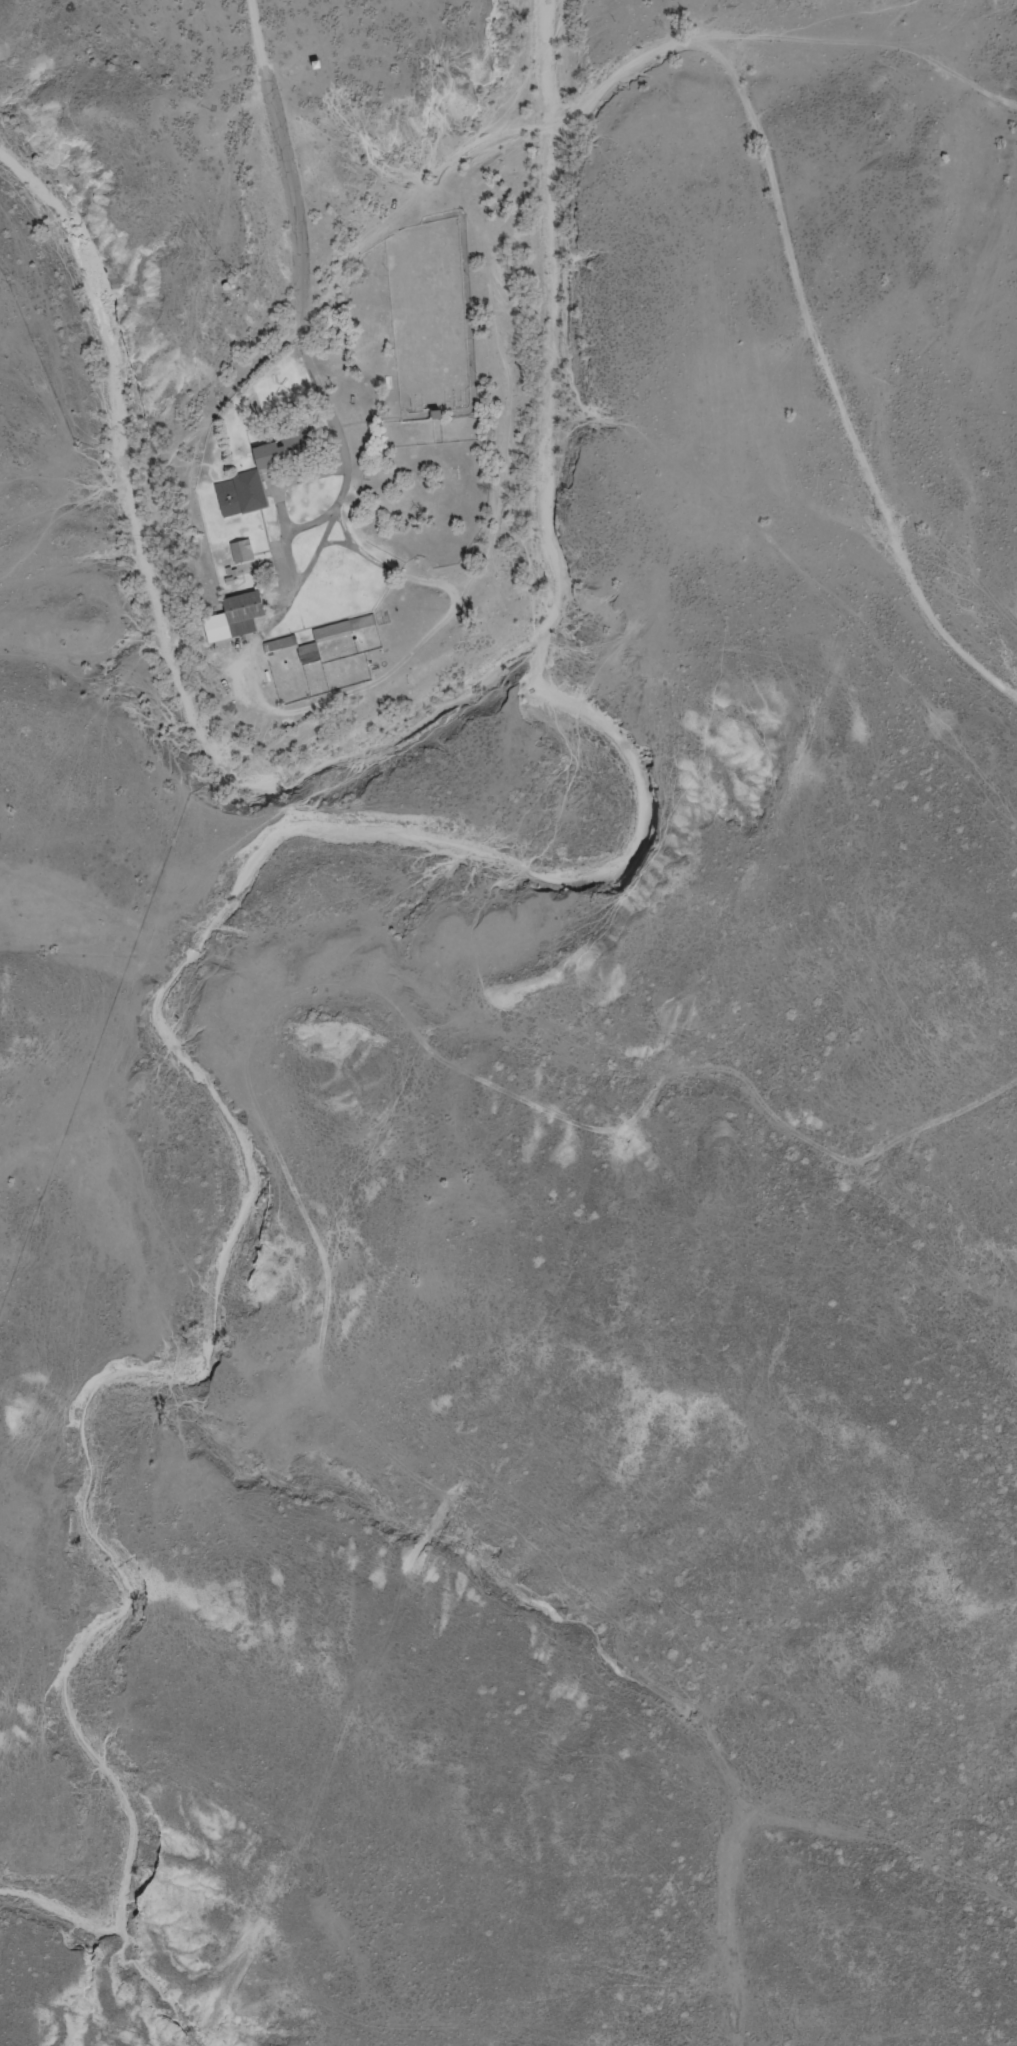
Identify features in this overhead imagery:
road: (280, 134)
building: (243, 484)
building: (239, 551)
building: (229, 618)
building: (315, 639)
river: (386, 750)

